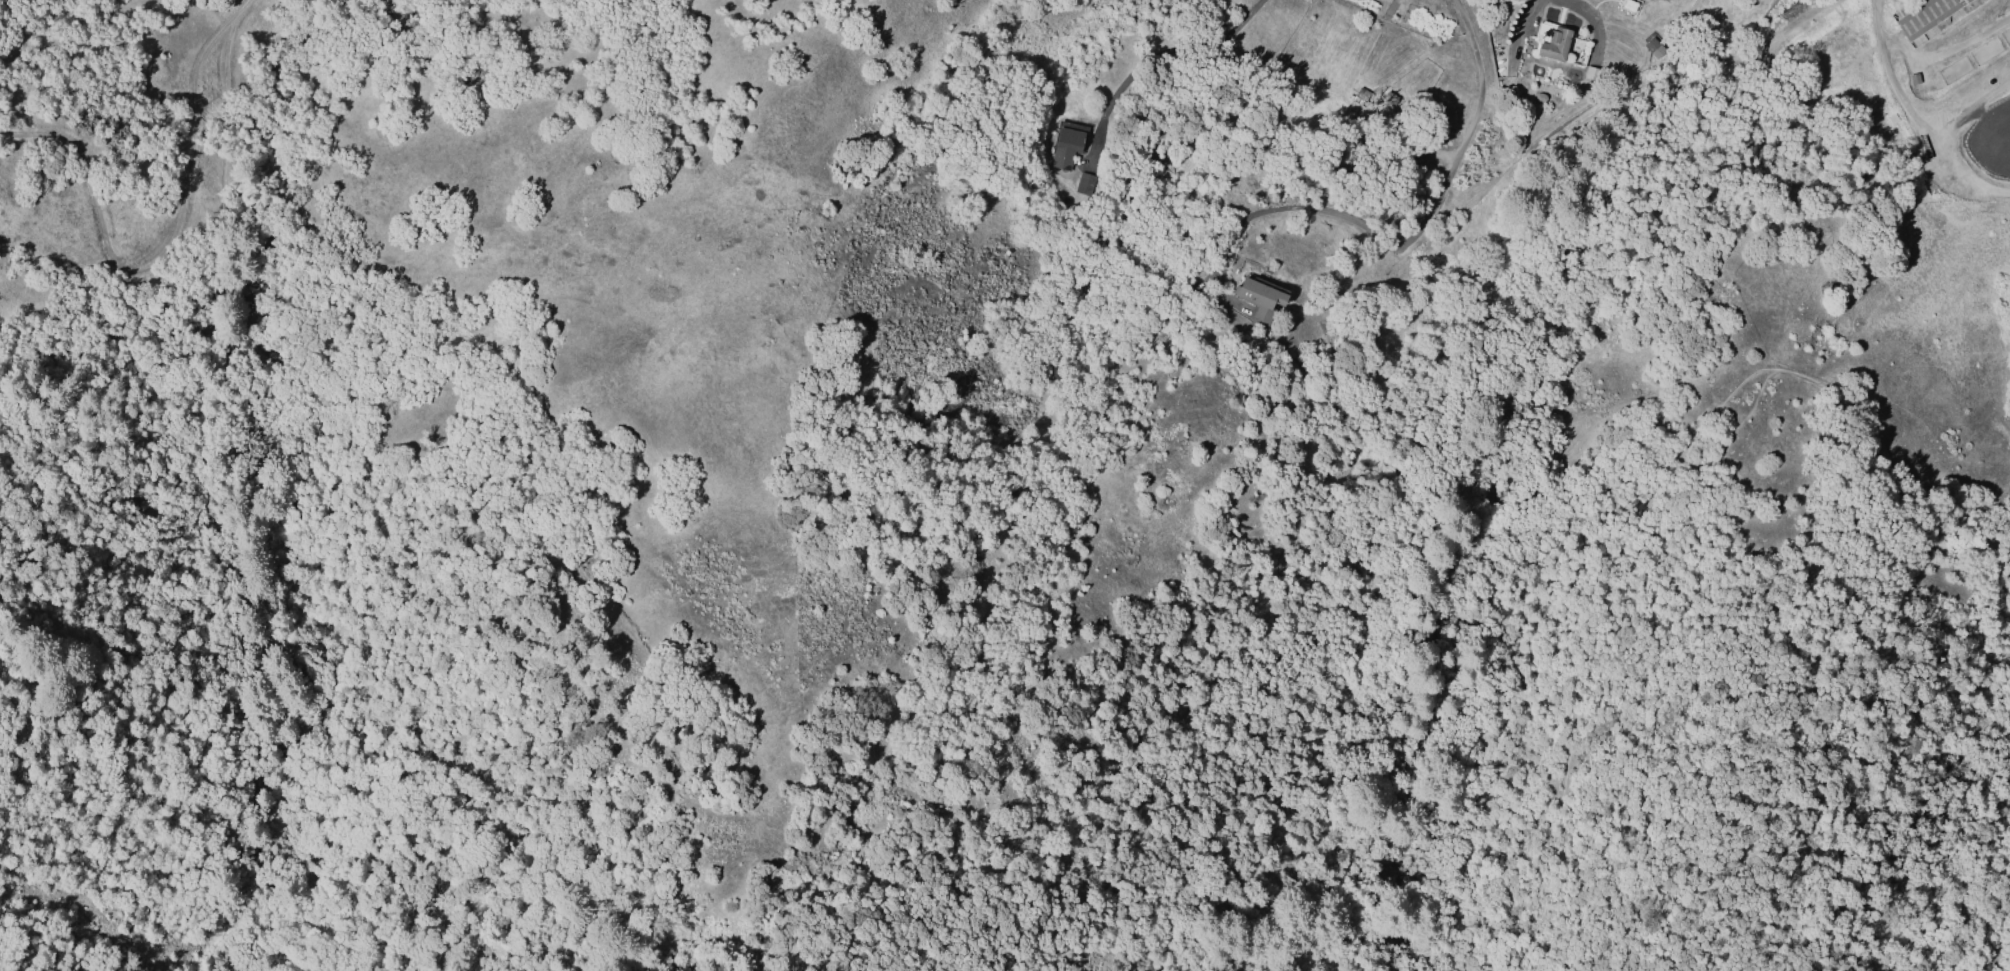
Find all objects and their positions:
road: (1586, 14)
building: (1931, 17)
building: (1553, 43)
building: (1653, 47)
road: (1926, 56)
road: (1174, 60)
building: (1591, 72)
building: (1066, 146)
building: (1084, 182)
road: (166, 237)
road: (1408, 239)
building: (1260, 299)
road: (1713, 414)
road: (1570, 761)
road: (1732, 807)
road: (1418, 818)

